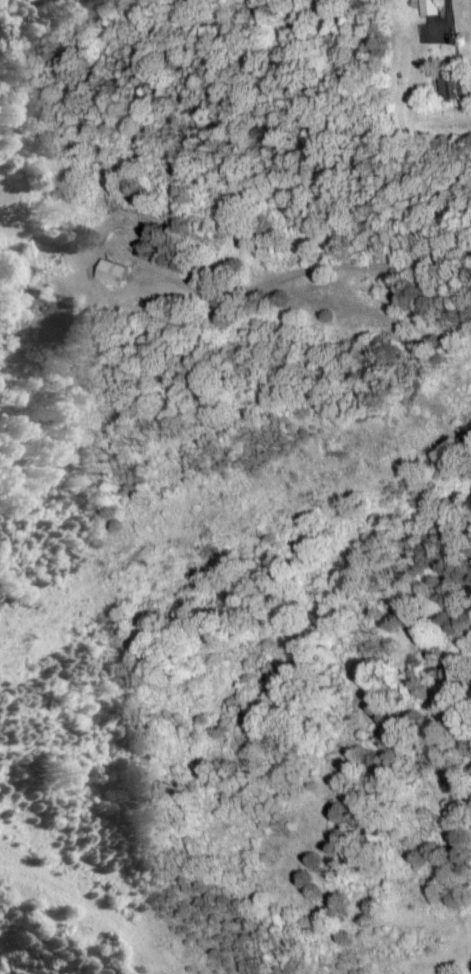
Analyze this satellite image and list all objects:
building: (427, 8)
building: (448, 89)
building: (116, 273)
road: (302, 275)

